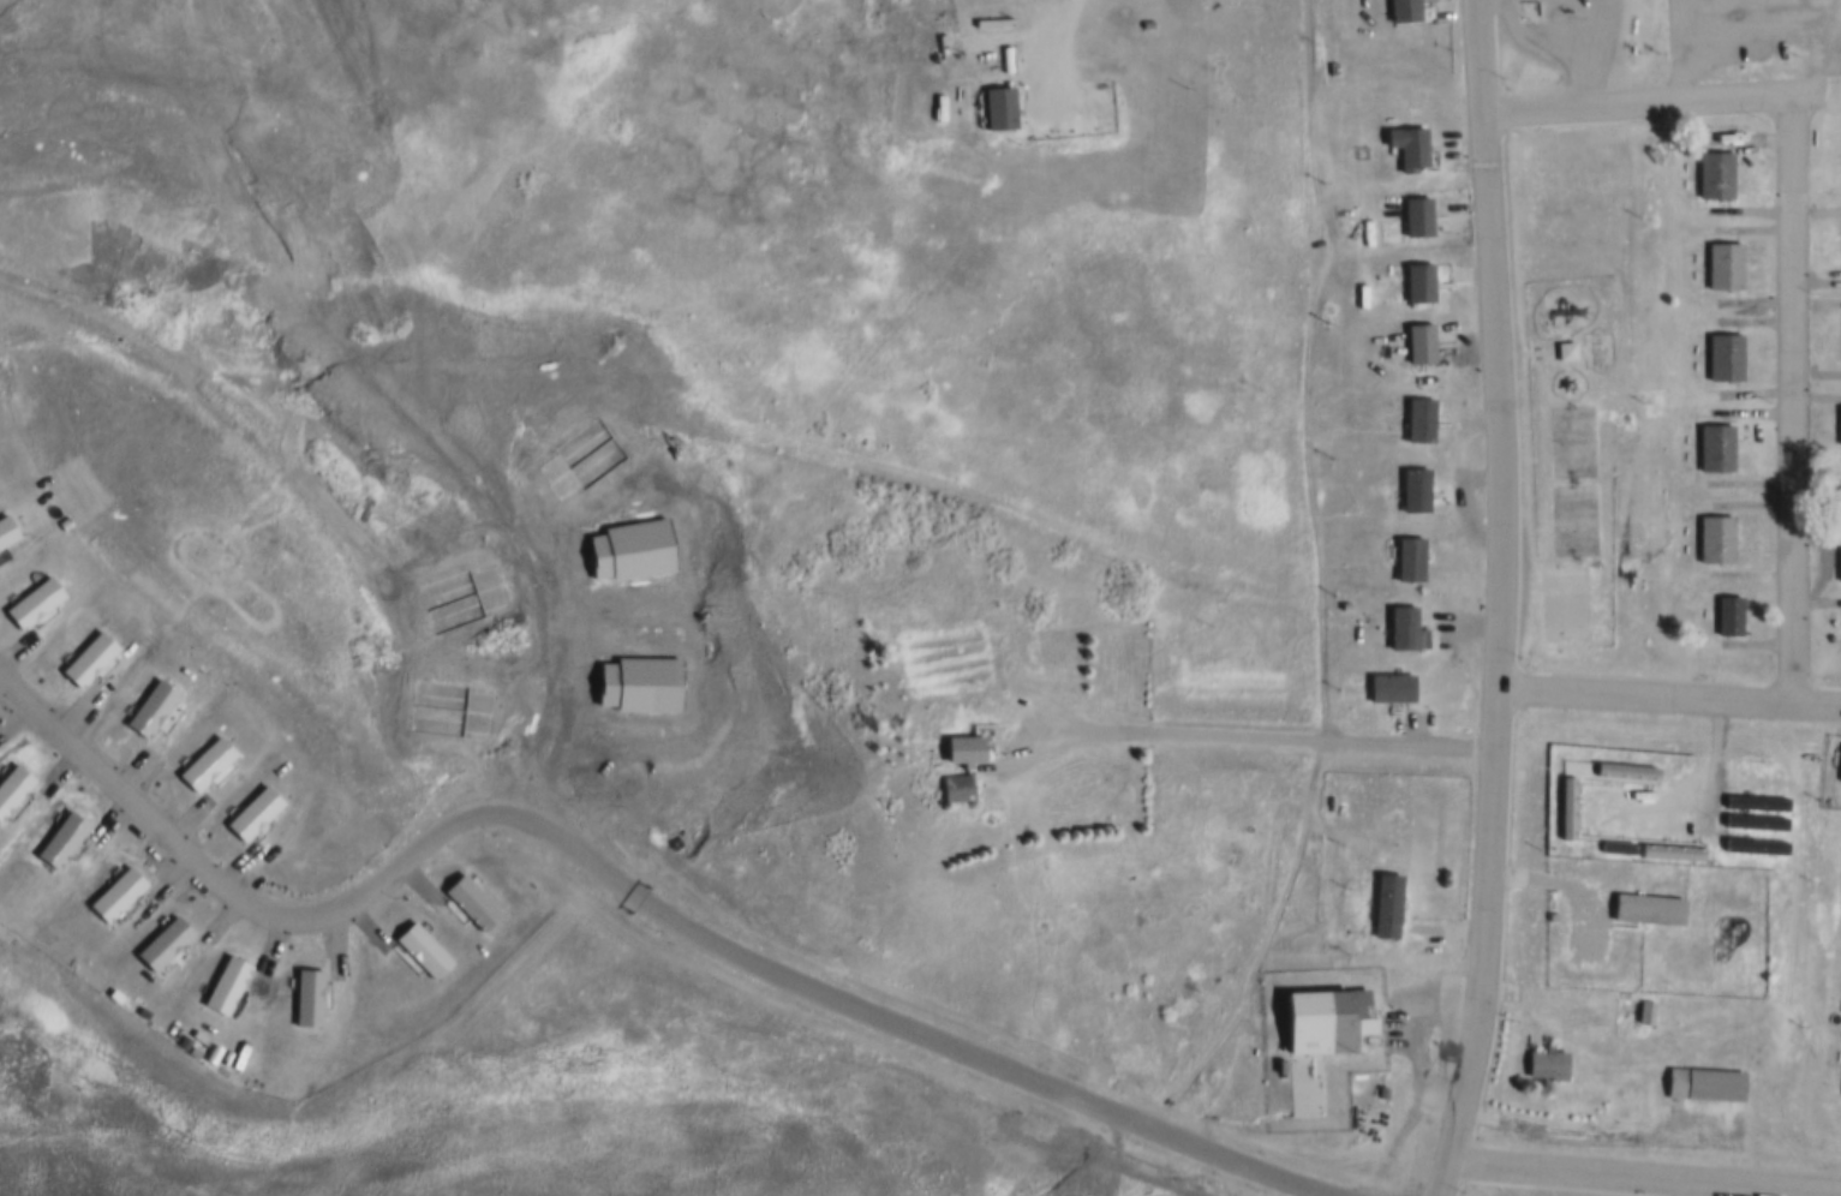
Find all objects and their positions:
building: (1400, 12)
building: (997, 109)
building: (1406, 145)
building: (1713, 175)
building: (1416, 215)
road: (1793, 243)
building: (1721, 267)
building: (1417, 282)
building: (1418, 341)
road: (1490, 345)
building: (1564, 351)
building: (1721, 357)
road: (1303, 375)
park: (1595, 389)
building: (1418, 418)
building: (1837, 429)
road: (743, 442)
building: (1713, 448)
building: (585, 449)
building: (1413, 486)
building: (1837, 496)
building: (5, 531)
building: (1713, 539)
building: (629, 546)
building: (1409, 557)
building: (1837, 566)
building: (459, 593)
park: (1562, 596)
building: (32, 600)
building: (1726, 616)
building: (1404, 626)
building: (88, 659)
building: (639, 681)
building: (1391, 683)
road: (1669, 698)
building: (447, 706)
building: (150, 707)
road: (1233, 741)
building: (205, 761)
building: (963, 771)
building: (1624, 771)
building: (1840, 775)
building: (12, 785)
building: (1564, 808)
building: (1752, 809)
building: (253, 811)
building: (1743, 833)
building: (59, 841)
building: (1614, 844)
building: (1751, 845)
building: (1668, 851)
road: (634, 887)
building: (114, 896)
building: (471, 901)
building: (1385, 902)
building: (1645, 909)
building: (162, 943)
road: (1487, 946)
building: (423, 951)
building: (225, 985)
building: (305, 997)
road: (1530, 1005)
building: (1643, 1012)
building: (1322, 1021)
building: (1544, 1063)
building: (1274, 1066)
building: (1702, 1084)
building: (1380, 1089)
road: (1410, 1108)
road: (1624, 1182)

